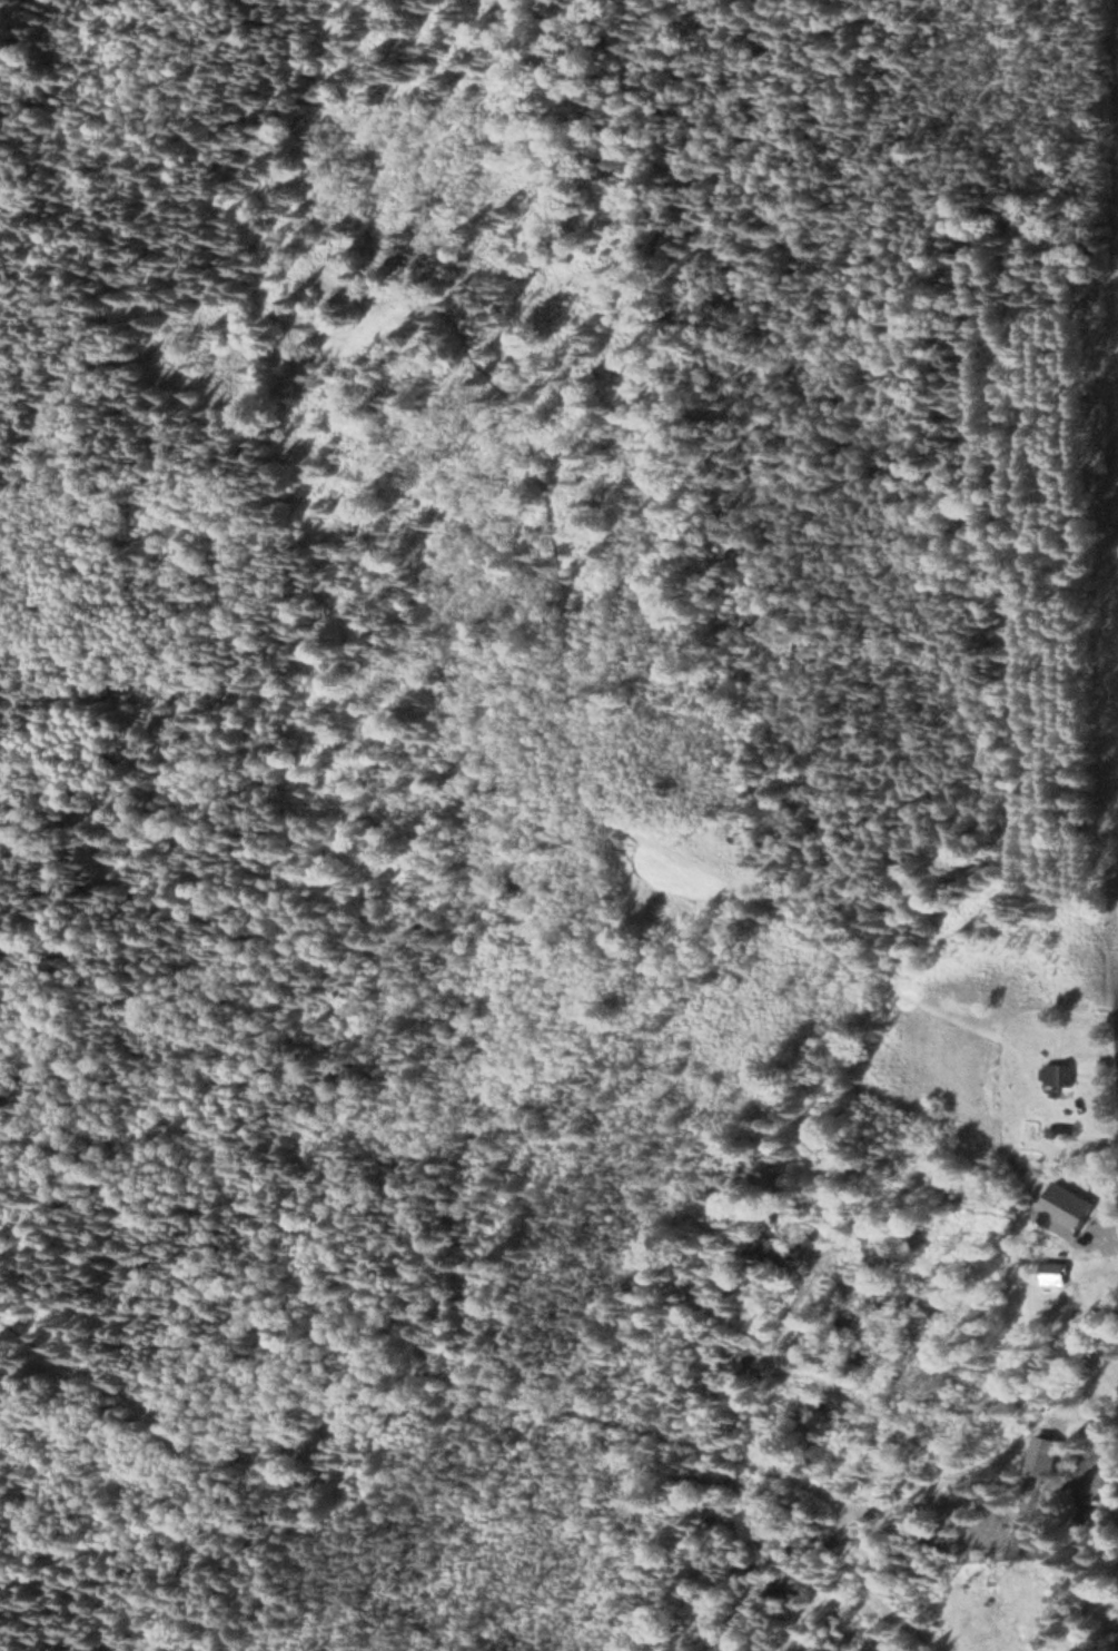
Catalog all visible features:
building: (1060, 1076)
building: (1062, 1134)
building: (1056, 1274)
building: (1043, 1457)

